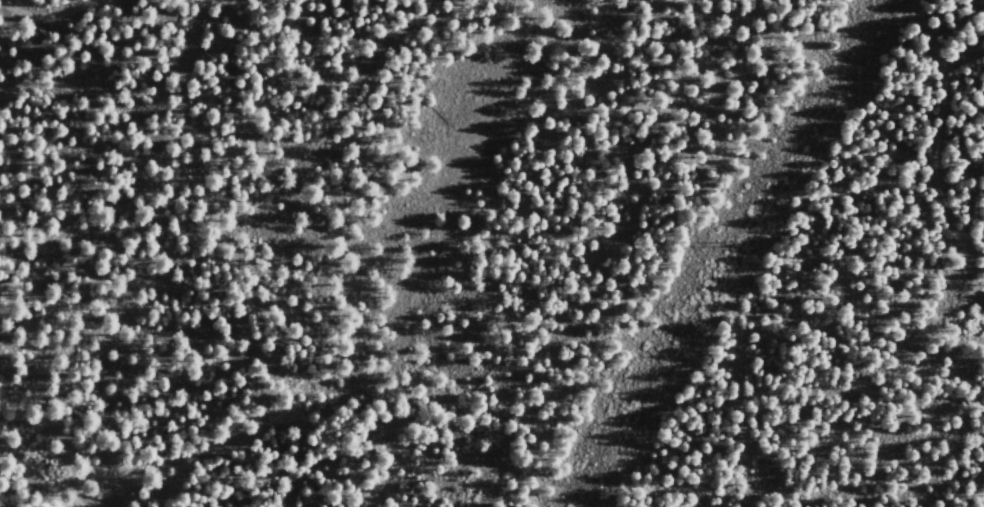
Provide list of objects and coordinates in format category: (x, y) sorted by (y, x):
road: (47, 14)
road: (935, 149)
power tower: (726, 242)
road: (769, 254)

